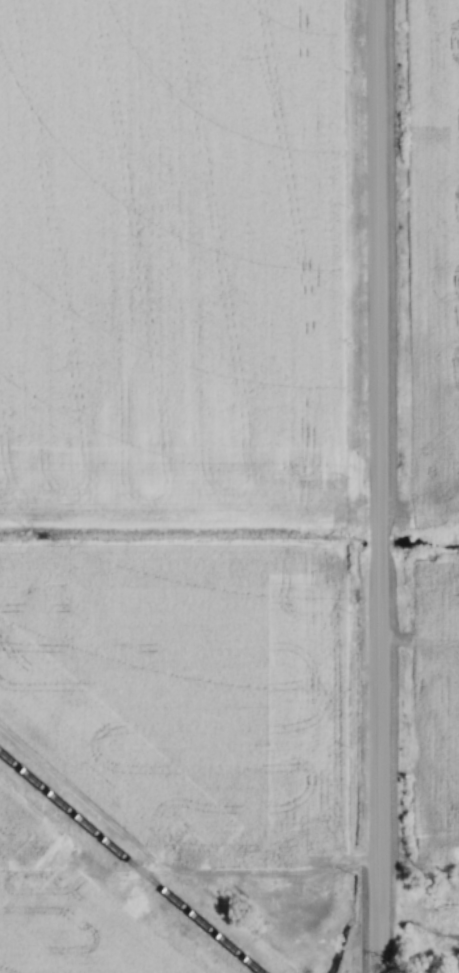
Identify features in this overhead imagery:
road: (375, 486)
railway: (129, 861)

